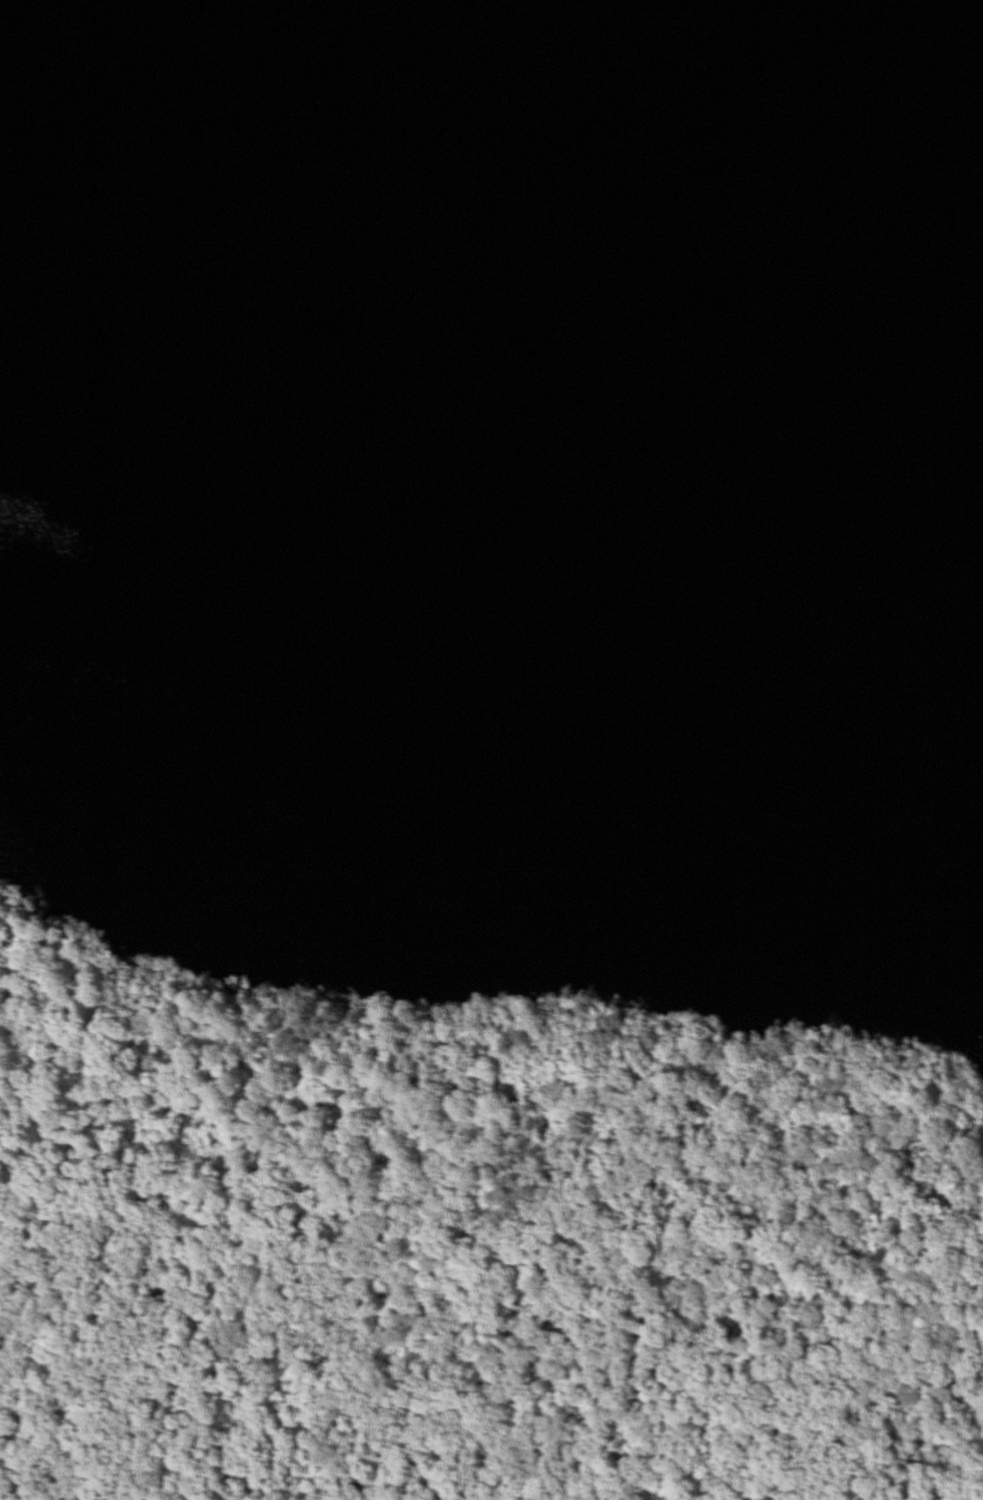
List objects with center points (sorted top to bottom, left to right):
road: (434, 1313)

